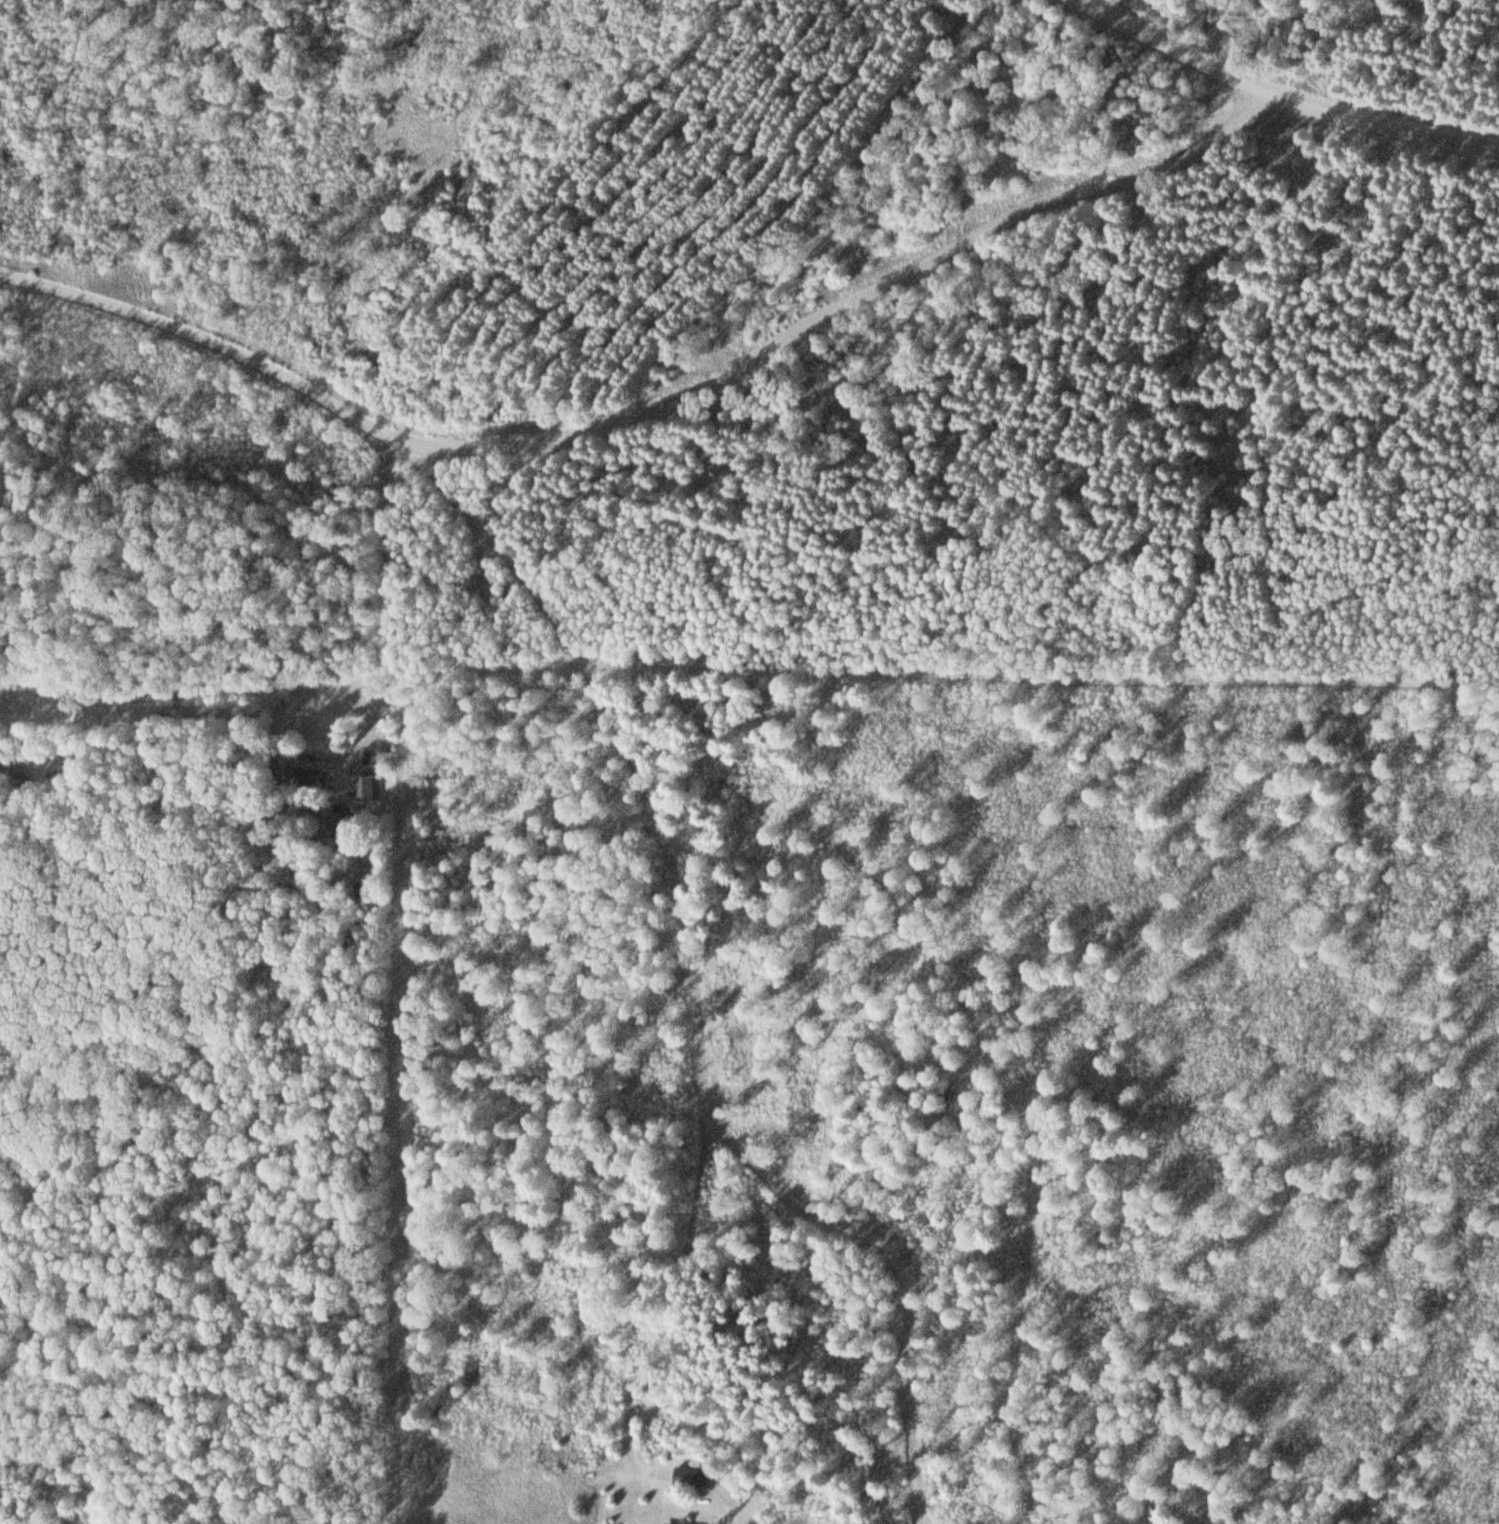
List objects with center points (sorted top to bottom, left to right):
road: (1162, 45)
road: (1374, 124)
road: (640, 395)
building: (308, 777)
building: (366, 788)
road: (703, 1004)
building: (692, 1478)

